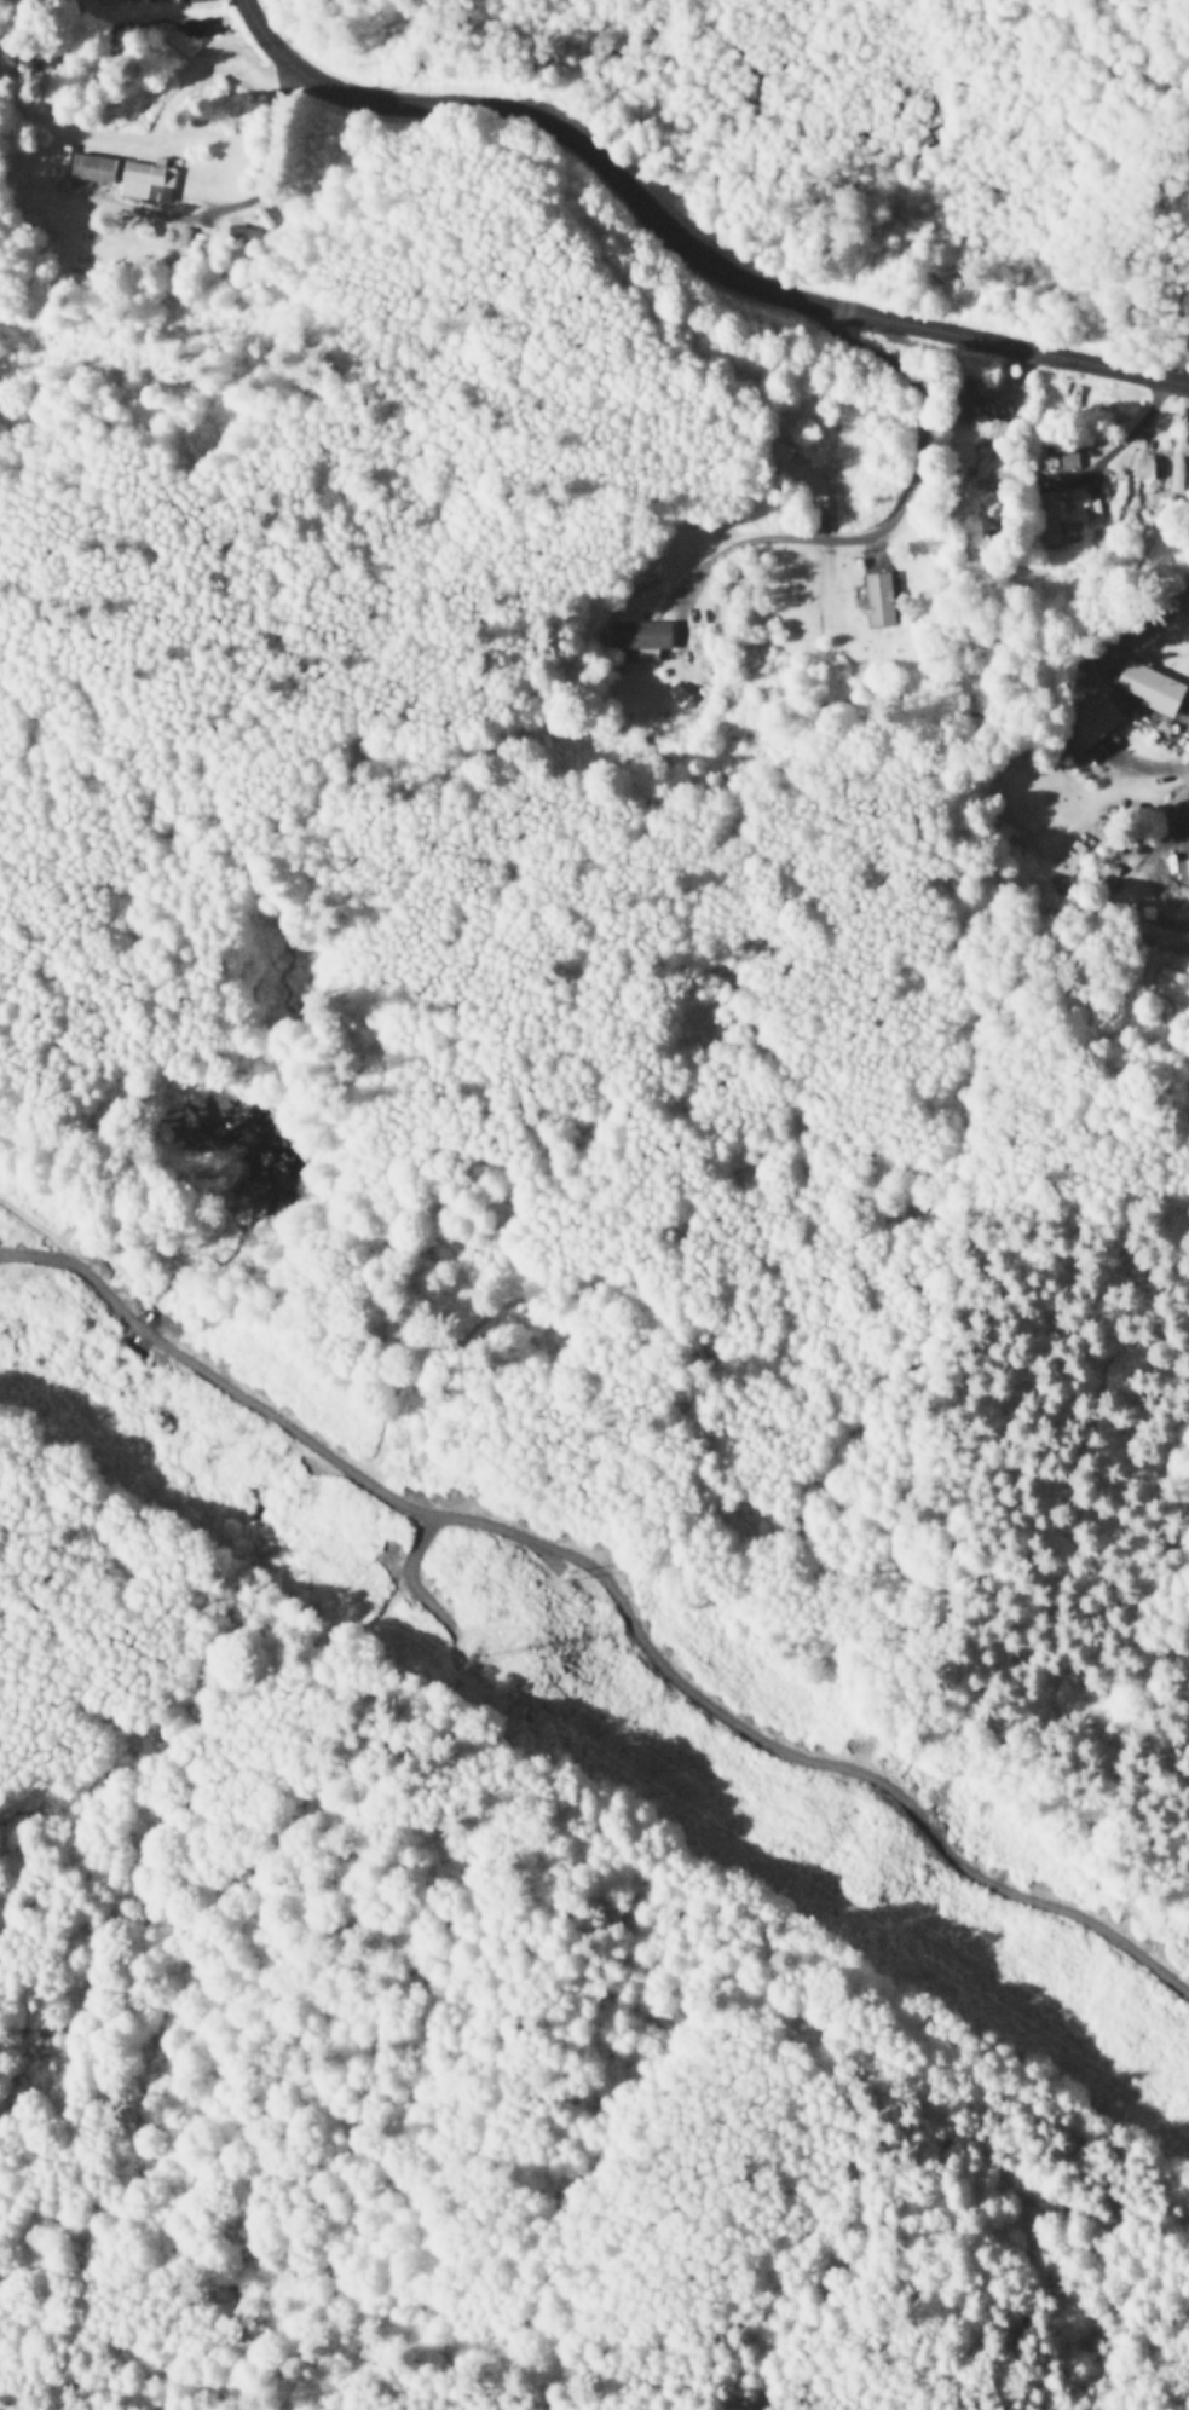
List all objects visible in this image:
building: (104, 1)
building: (126, 179)
road: (683, 252)
building: (963, 401)
building: (1107, 411)
road: (1130, 430)
road: (455, 434)
building: (781, 455)
building: (1178, 460)
building: (1072, 462)
building: (1050, 521)
building: (875, 599)
building: (844, 624)
building: (637, 636)
building: (1185, 655)
building: (1153, 684)
building: (1093, 724)
building: (1184, 872)
power tower: (560, 1573)
power tower: (480, 1658)

